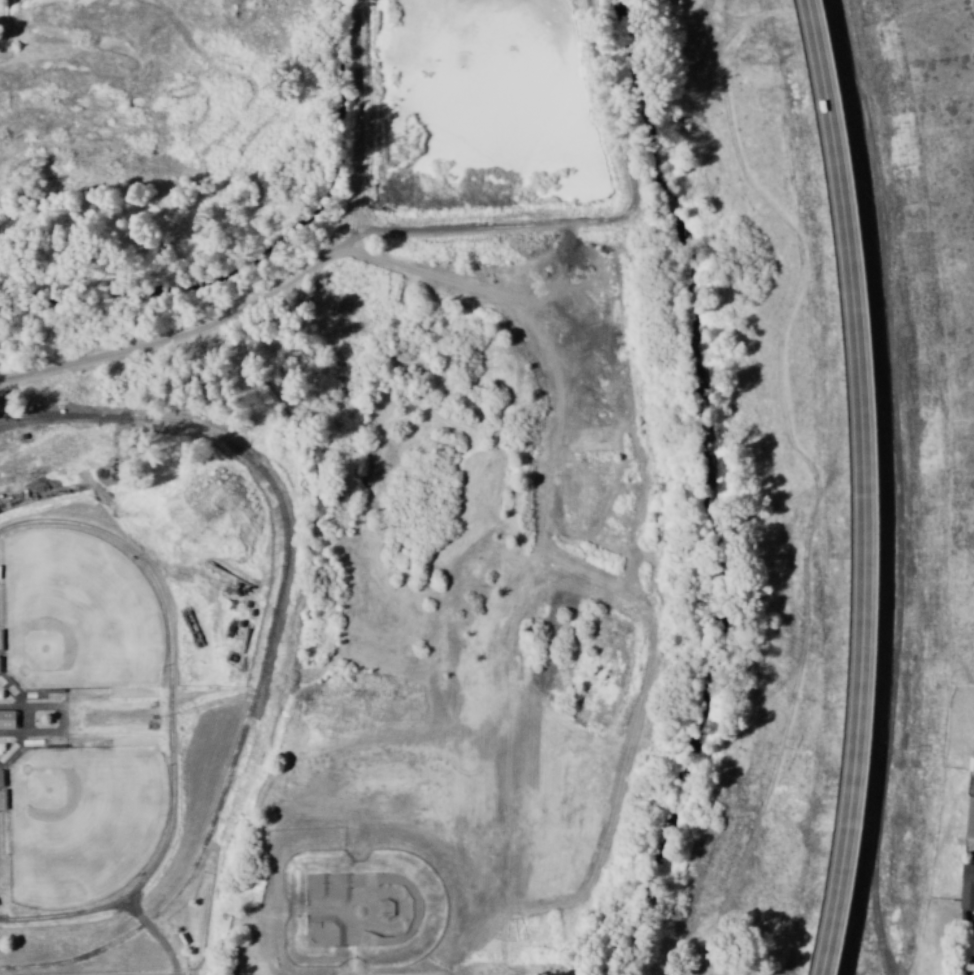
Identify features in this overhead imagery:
road: (356, 114)
road: (611, 219)
road: (352, 236)
road: (182, 334)
road: (864, 487)
road: (532, 555)
park: (75, 614)
road: (167, 635)
railway: (263, 648)
building: (7, 719)
road: (101, 734)
building: (971, 764)
building: (969, 819)
park: (82, 822)
road: (153, 860)
building: (967, 886)
park: (360, 910)
road: (67, 914)
parking lot: (158, 974)

